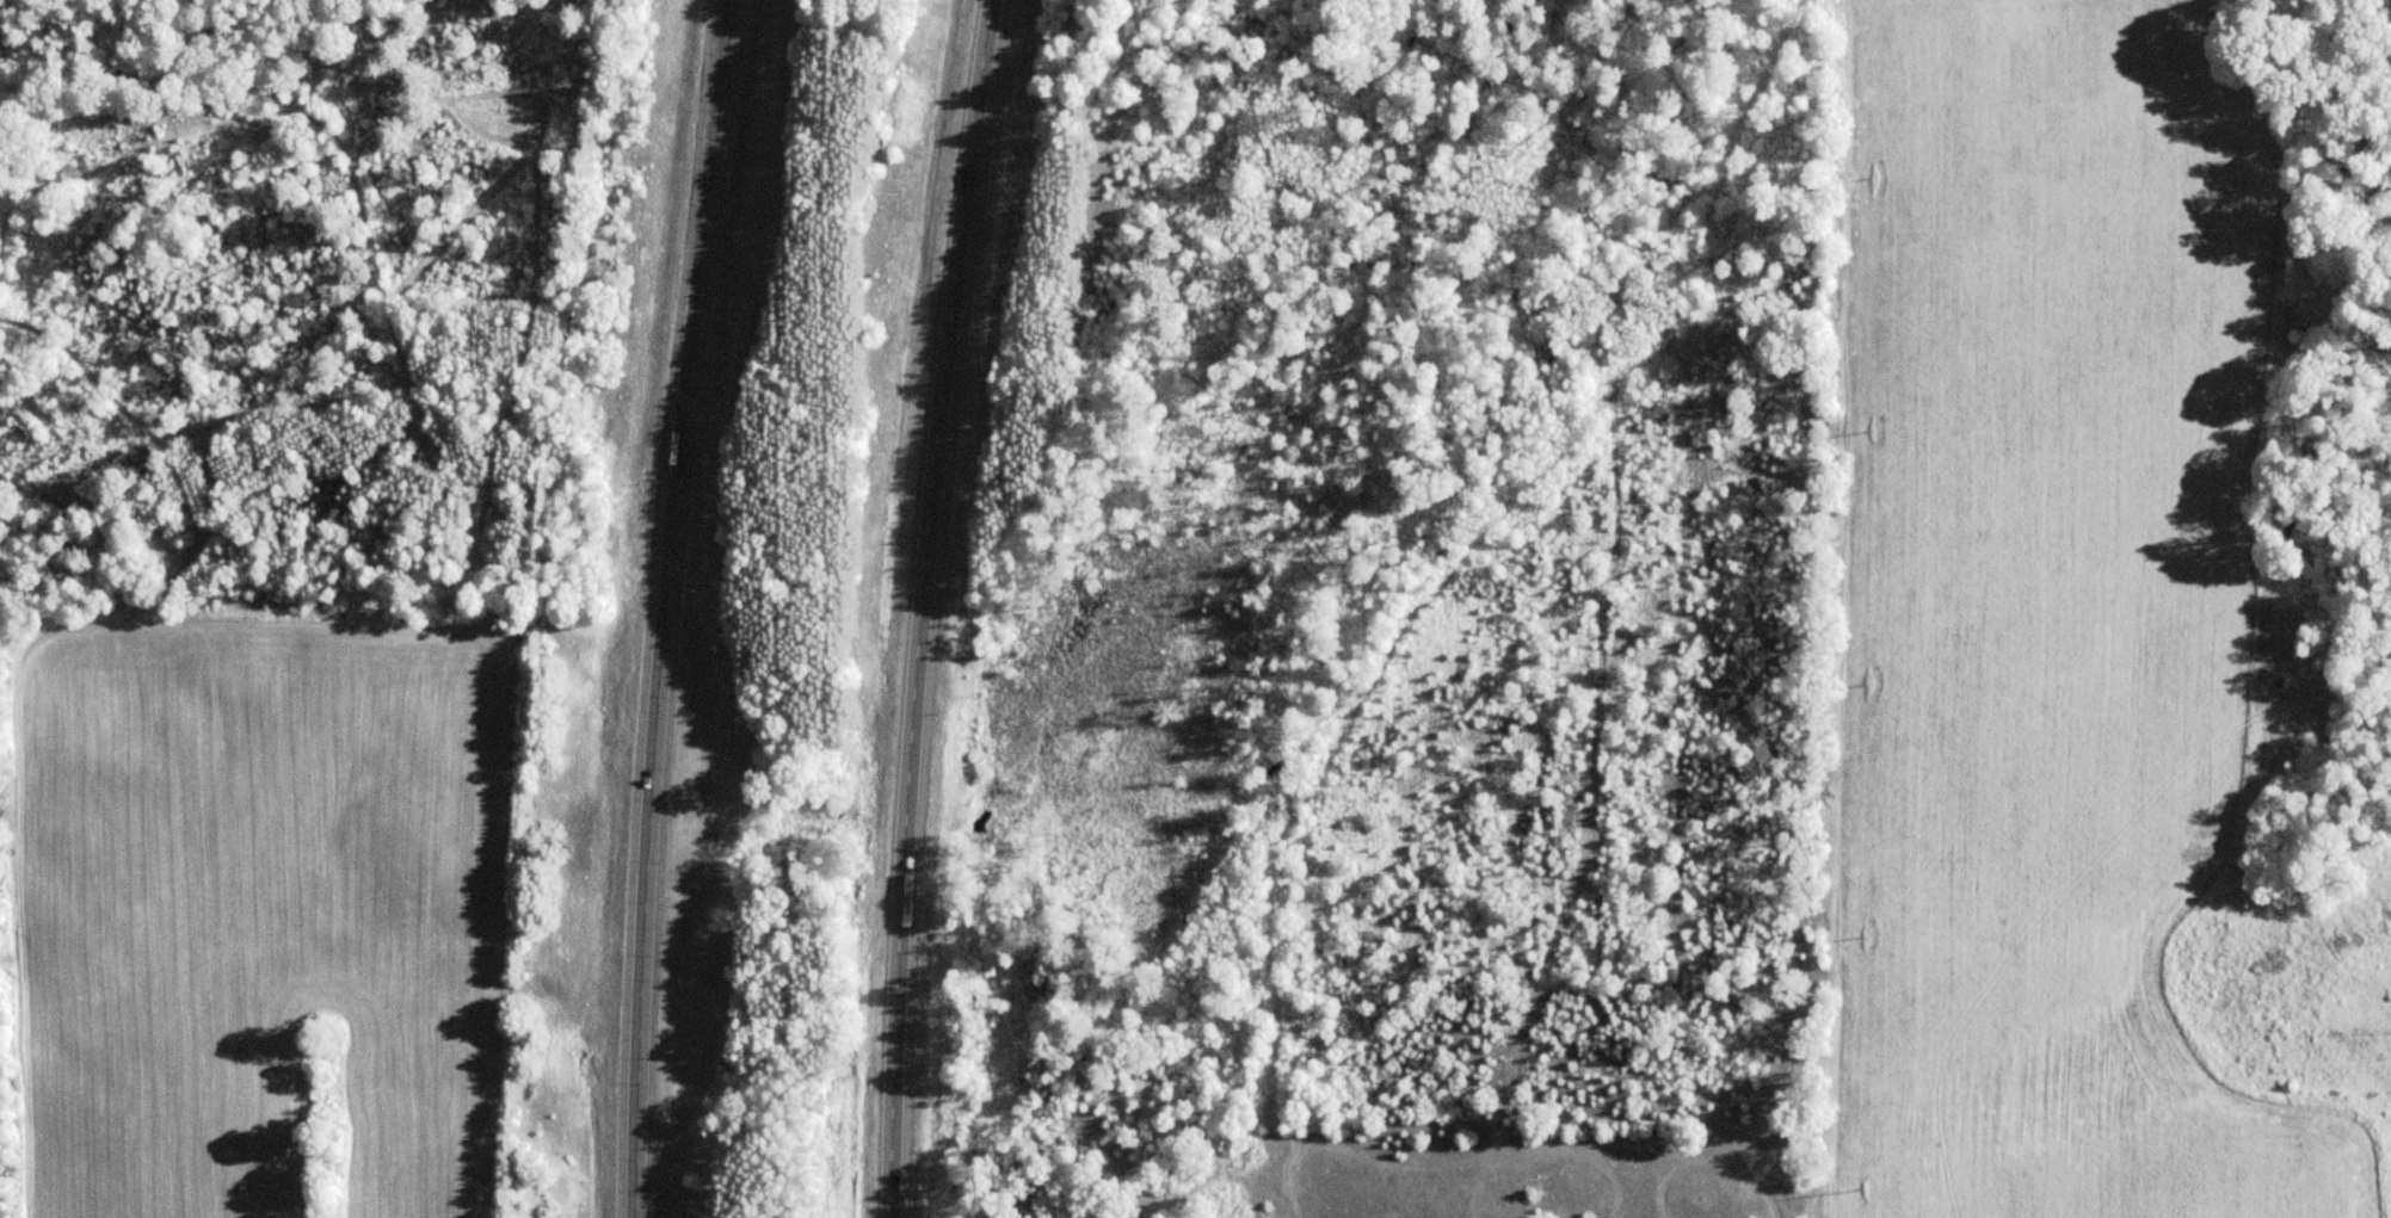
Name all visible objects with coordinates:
road: (667, 607)
road: (917, 607)
crop: (258, 913)

